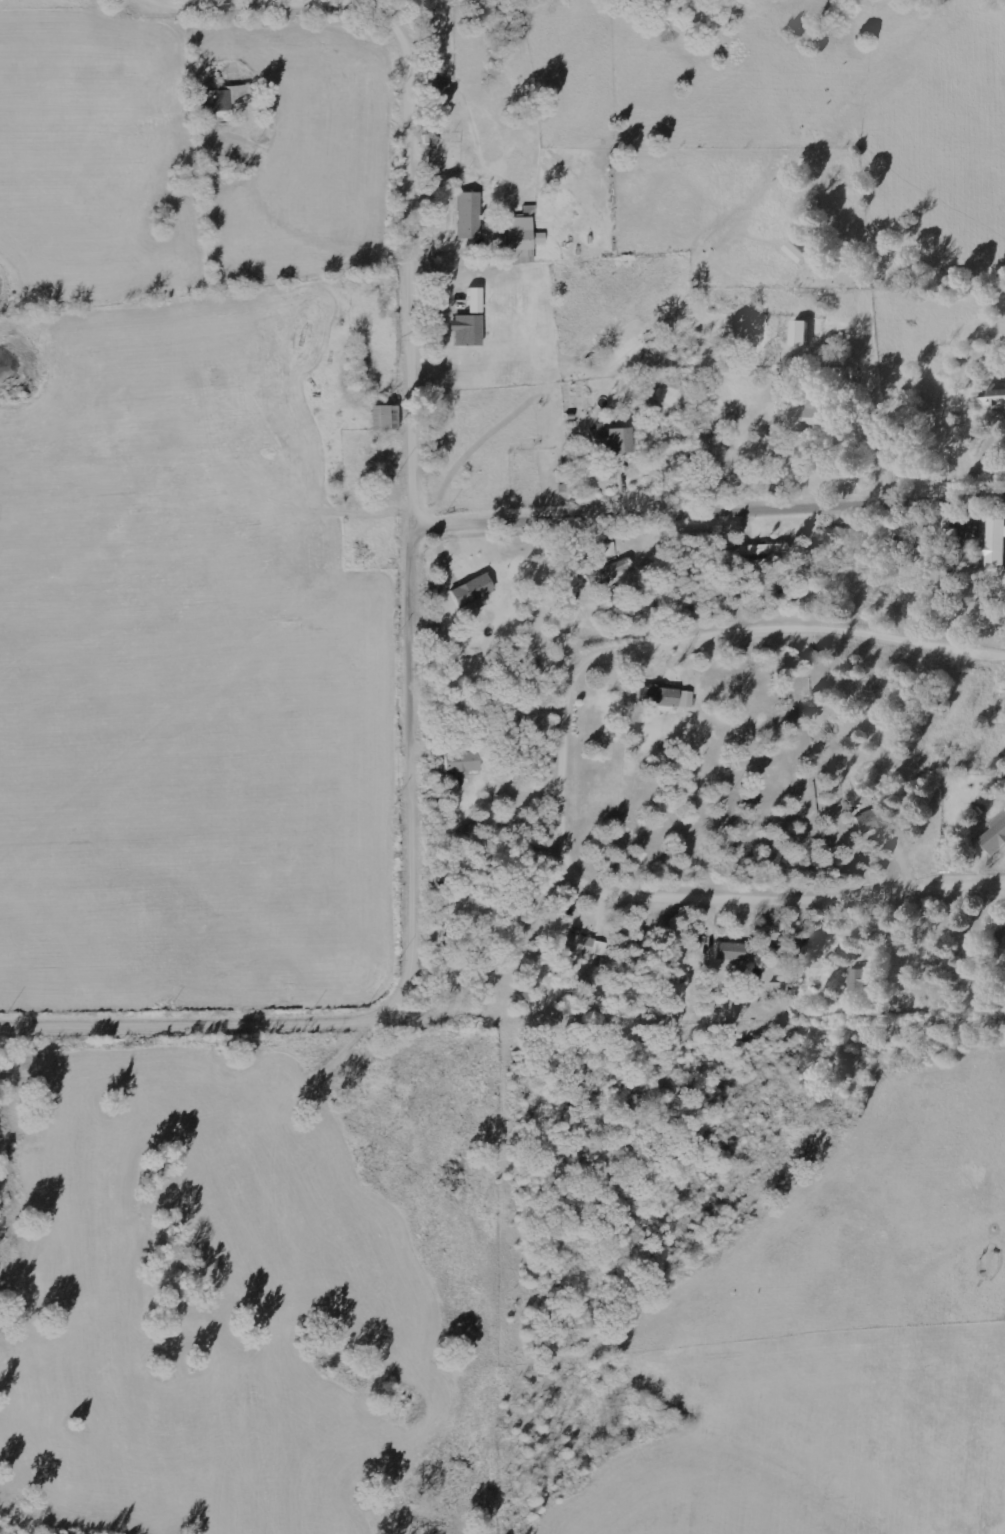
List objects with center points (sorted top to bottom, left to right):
building: (438, 85)
building: (221, 101)
building: (469, 215)
building: (524, 234)
road: (428, 268)
building: (476, 300)
building: (468, 330)
building: (803, 333)
building: (996, 397)
building: (386, 417)
building: (809, 418)
building: (613, 439)
building: (998, 544)
building: (764, 548)
building: (611, 569)
building: (473, 592)
road: (418, 683)
building: (665, 697)
building: (462, 762)
road: (573, 763)
building: (872, 820)
building: (996, 837)
building: (1004, 936)
building: (585, 945)
building: (731, 951)
building: (860, 981)

